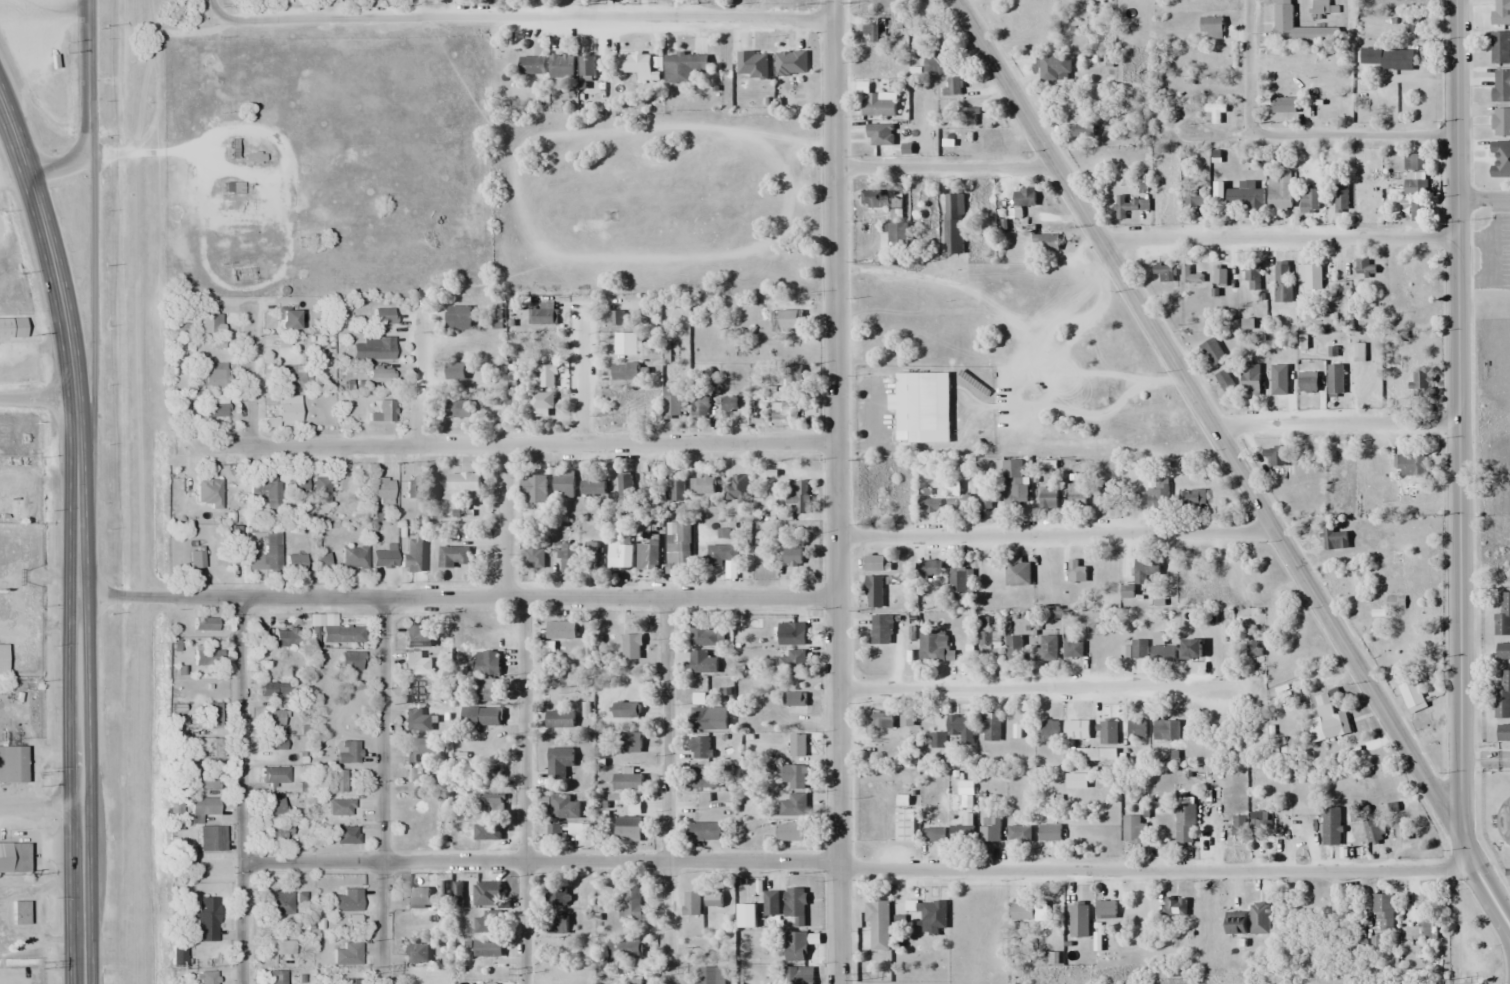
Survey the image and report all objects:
building: (994, 0)
building: (1501, 12)
building: (1282, 13)
building: (29, 18)
road: (517, 20)
building: (1211, 26)
building: (875, 30)
building: (1500, 48)
building: (1387, 58)
building: (936, 62)
building: (790, 63)
building: (752, 64)
building: (532, 65)
building: (586, 65)
building: (635, 65)
building: (562, 66)
road: (1247, 66)
building: (1053, 67)
building: (683, 69)
building: (1501, 85)
building: (953, 86)
building: (1323, 103)
building: (874, 104)
building: (1283, 105)
road: (88, 106)
building: (1213, 112)
building: (967, 117)
building: (1500, 122)
building: (1084, 129)
road: (1354, 135)
building: (252, 157)
building: (1501, 159)
building: (1414, 162)
road: (944, 170)
building: (232, 187)
building: (1280, 191)
building: (1024, 197)
road: (1483, 197)
building: (1195, 198)
building: (1340, 198)
building: (1416, 198)
building: (1245, 199)
building: (881, 200)
building: (1309, 204)
building: (1130, 206)
building: (953, 224)
building: (897, 235)
road: (1277, 240)
building: (1045, 243)
building: (1165, 273)
building: (1190, 275)
building: (1220, 276)
building: (1252, 276)
building: (1310, 276)
building: (1282, 282)
road: (92, 310)
building: (381, 315)
building: (542, 315)
building: (286, 318)
building: (458, 318)
building: (616, 318)
building: (210, 319)
building: (790, 320)
building: (1247, 326)
building: (11, 327)
building: (275, 341)
building: (625, 343)
building: (372, 350)
building: (1353, 351)
building: (1218, 366)
building: (455, 371)
building: (624, 372)
building: (381, 374)
building: (212, 375)
building: (544, 376)
road: (581, 376)
building: (792, 376)
building: (288, 377)
road: (251, 378)
building: (1250, 380)
building: (1335, 380)
road: (420, 381)
building: (1307, 383)
building: (1422, 383)
building: (674, 402)
building: (729, 404)
building: (542, 405)
building: (700, 405)
building: (217, 406)
building: (917, 406)
building: (287, 410)
building: (459, 410)
building: (785, 410)
building: (383, 411)
building: (183, 414)
road: (1456, 416)
road: (1204, 417)
road: (1334, 426)
road: (512, 445)
building: (1275, 456)
building: (1411, 464)
building: (463, 481)
building: (702, 482)
building: (295, 483)
building: (675, 483)
building: (564, 485)
building: (592, 485)
building: (381, 487)
building: (624, 487)
building: (735, 487)
building: (266, 488)
building: (413, 488)
building: (321, 489)
building: (534, 489)
railway: (140, 492)
road: (836, 492)
building: (930, 492)
building: (1157, 493)
building: (1019, 496)
building: (1076, 496)
building: (1191, 496)
building: (957, 499)
building: (991, 499)
building: (1047, 499)
building: (797, 500)
building: (928, 504)
road: (504, 521)
road: (1054, 533)
road: (77, 536)
building: (1335, 539)
building: (677, 546)
building: (271, 550)
building: (651, 551)
building: (413, 553)
building: (620, 555)
building: (721, 555)
building: (593, 556)
building: (353, 557)
building: (454, 557)
building: (534, 557)
building: (792, 557)
building: (567, 558)
building: (196, 559)
building: (320, 561)
building: (295, 562)
building: (874, 563)
building: (931, 568)
building: (1146, 571)
building: (1076, 572)
building: (1017, 574)
building: (958, 582)
building: (874, 592)
road: (457, 597)
building: (1503, 616)
building: (205, 623)
building: (561, 630)
building: (880, 630)
building: (341, 633)
building: (703, 634)
building: (417, 635)
building: (793, 635)
building: (285, 637)
building: (1389, 639)
building: (987, 643)
building: (932, 646)
building: (631, 647)
building: (1073, 648)
building: (1014, 649)
building: (1047, 649)
building: (1139, 649)
building: (1191, 649)
building: (1254, 649)
building: (1503, 651)
building: (1163, 653)
building: (1210, 653)
building: (207, 657)
building: (2, 659)
building: (351, 661)
building: (793, 662)
building: (486, 663)
building: (702, 663)
building: (417, 664)
road: (1030, 688)
building: (272, 689)
building: (487, 691)
building: (1502, 697)
building: (792, 700)
building: (1418, 711)
building: (626, 713)
building: (211, 714)
building: (481, 717)
building: (272, 718)
building: (559, 720)
building: (879, 720)
building: (417, 721)
building: (703, 721)
building: (1327, 721)
building: (959, 727)
building: (990, 727)
building: (1050, 730)
building: (1076, 730)
building: (1166, 730)
building: (1136, 731)
building: (1107, 732)
building: (1503, 733)
building: (938, 741)
building: (631, 742)
building: (273, 743)
building: (210, 745)
building: (798, 746)
building: (418, 749)
building: (699, 749)
building: (347, 752)
road: (1485, 759)
building: (558, 763)
building: (12, 764)
building: (275, 775)
building: (415, 775)
building: (491, 776)
building: (792, 776)
building: (704, 777)
building: (204, 781)
building: (337, 781)
building: (1076, 781)
building: (627, 783)
road: (239, 790)
road: (382, 790)
road: (523, 790)
road: (666, 790)
building: (492, 802)
building: (274, 805)
building: (204, 806)
building: (794, 806)
road: (40, 807)
building: (343, 807)
building: (563, 807)
building: (1185, 821)
building: (1258, 822)
building: (905, 825)
building: (1239, 825)
building: (1331, 827)
building: (574, 829)
building: (990, 829)
building: (1134, 829)
building: (704, 831)
building: (1373, 831)
building: (487, 832)
building: (277, 833)
building: (554, 833)
building: (628, 833)
building: (790, 833)
building: (1019, 833)
building: (1050, 833)
building: (961, 834)
building: (346, 835)
building: (933, 835)
building: (211, 838)
building: (13, 856)
road: (538, 860)
road: (1157, 867)
road: (1484, 877)
building: (486, 893)
building: (417, 895)
building: (556, 895)
building: (713, 898)
building: (347, 899)
building: (279, 902)
building: (692, 903)
building: (795, 905)
building: (633, 906)
building: (1175, 907)
building: (770, 908)
building: (1106, 908)
building: (1028, 911)
building: (877, 914)
building: (933, 915)
building: (1383, 916)
building: (206, 917)
building: (1260, 918)
building: (1079, 919)
building: (353, 920)
building: (556, 921)
building: (488, 922)
building: (1235, 922)
building: (1423, 929)
building: (767, 944)
building: (795, 946)
building: (487, 947)
building: (624, 948)
building: (415, 952)
building: (347, 953)
building: (178, 955)
power tower: (43, 964)
power tower: (171, 970)
power tower: (374, 970)
power tower: (659, 973)
building: (275, 975)
building: (710, 975)
building: (798, 975)
building: (206, 976)
power tower: (856, 977)
building: (349, 980)
power tower: (1448, 982)
power tower: (1176, 983)

